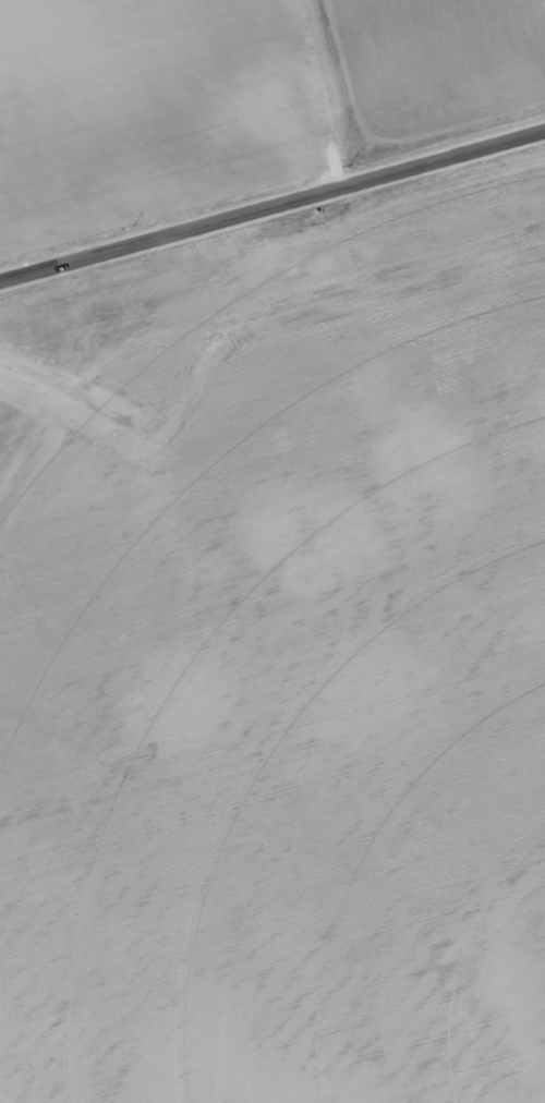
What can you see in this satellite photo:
road: (272, 202)

